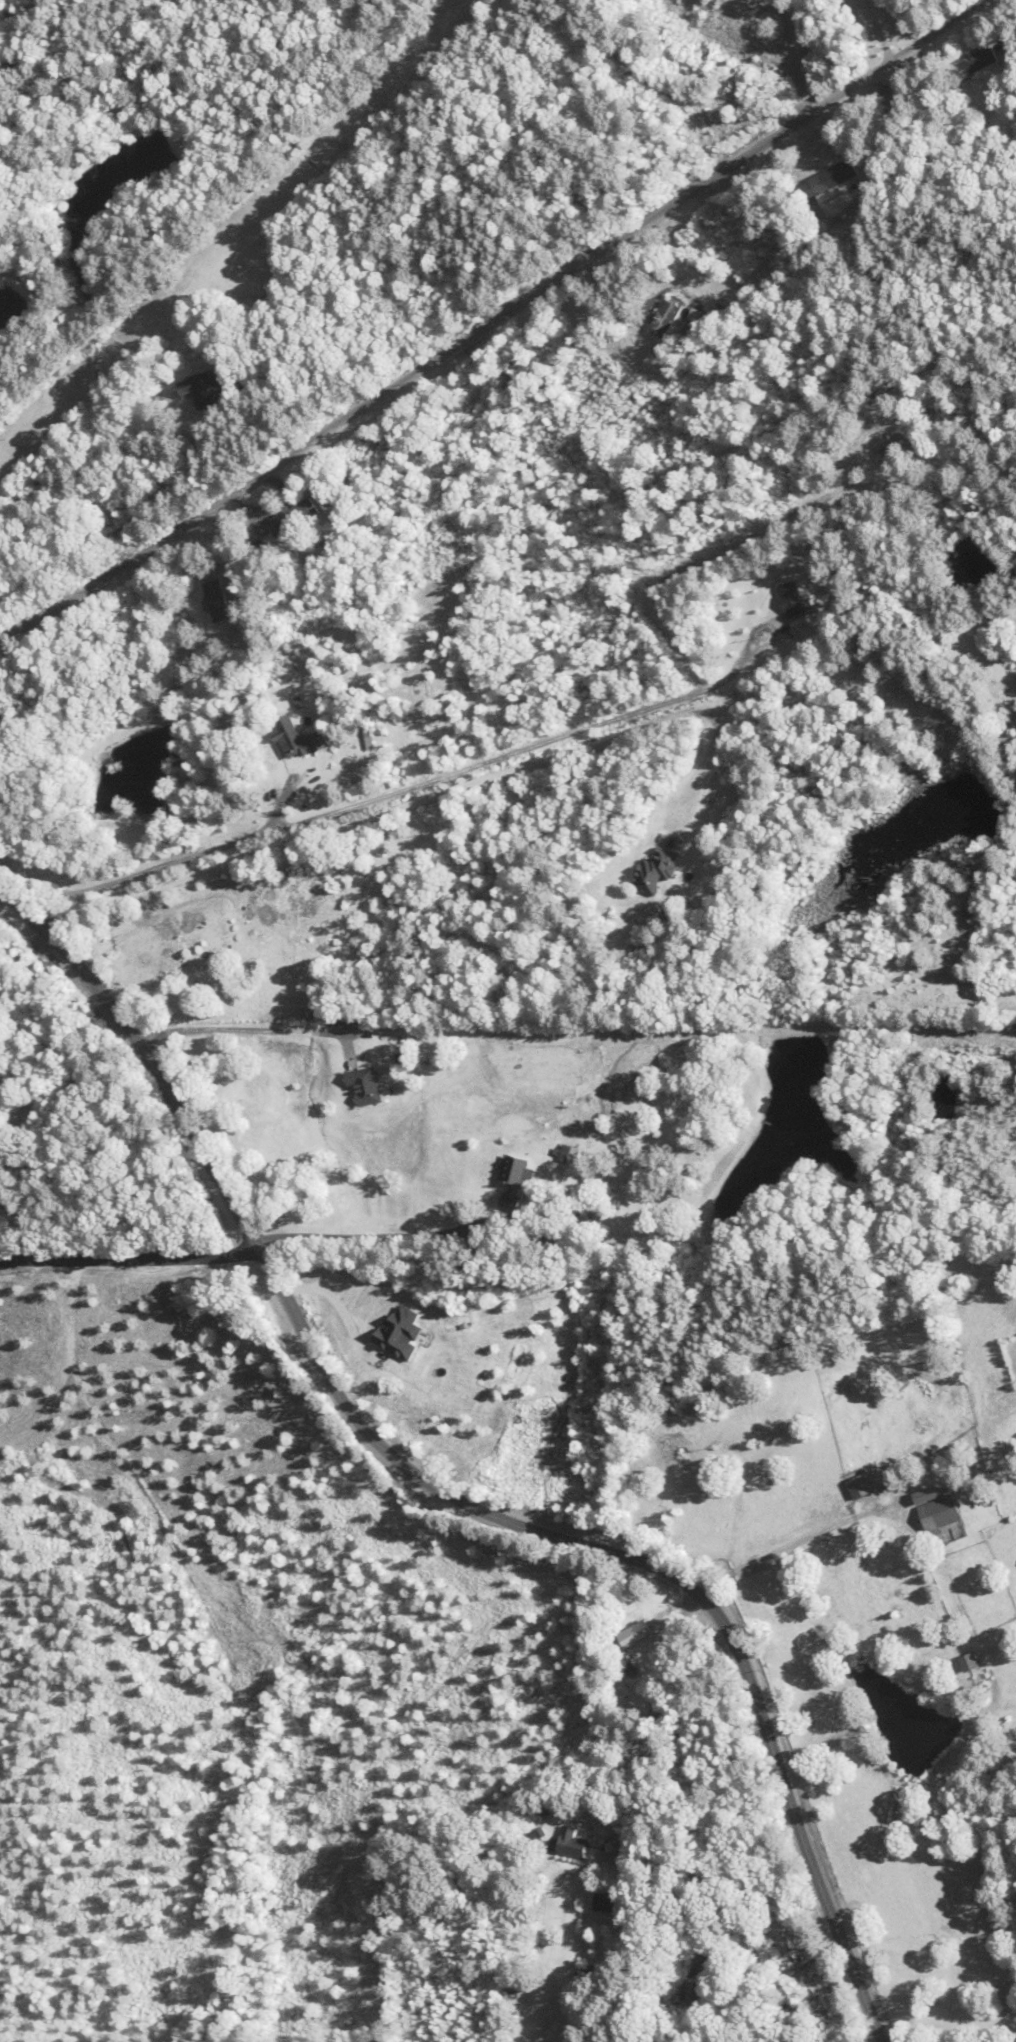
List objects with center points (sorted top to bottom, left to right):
building: (729, 8)
building: (977, 61)
building: (53, 72)
building: (829, 180)
building: (666, 317)
road: (496, 321)
building: (203, 389)
building: (888, 445)
building: (297, 515)
building: (793, 599)
building: (218, 600)
building: (298, 740)
road: (381, 795)
building: (656, 869)
building: (366, 1085)
building: (513, 1178)
road: (130, 1259)
building: (924, 1424)
building: (860, 1486)
road: (445, 1493)
building: (937, 1509)
building: (634, 1633)
building: (970, 1661)
road: (660, 1715)
building: (572, 1843)
building: (608, 1902)
building: (782, 1930)
building: (795, 2013)

